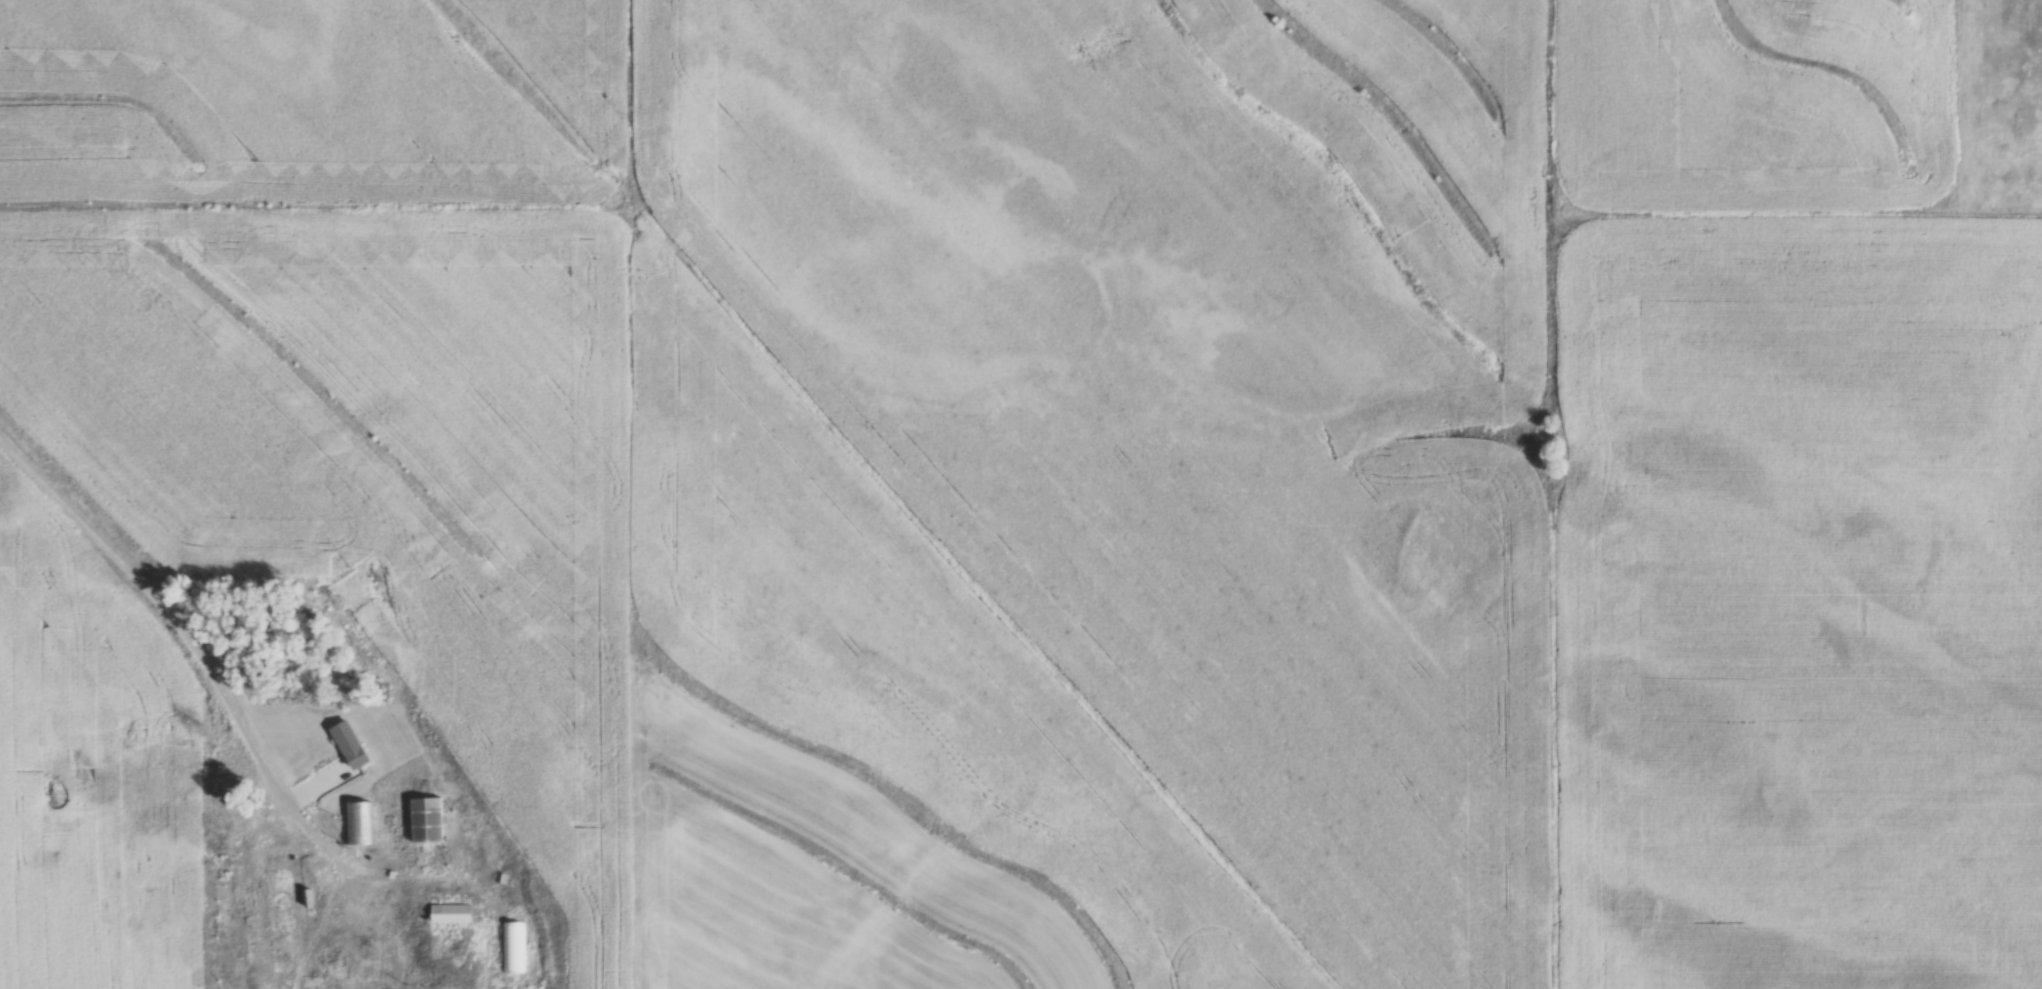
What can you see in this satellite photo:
road: (172, 611)
building: (349, 744)
building: (426, 819)
building: (359, 822)
building: (281, 880)
building: (451, 912)
building: (287, 923)

